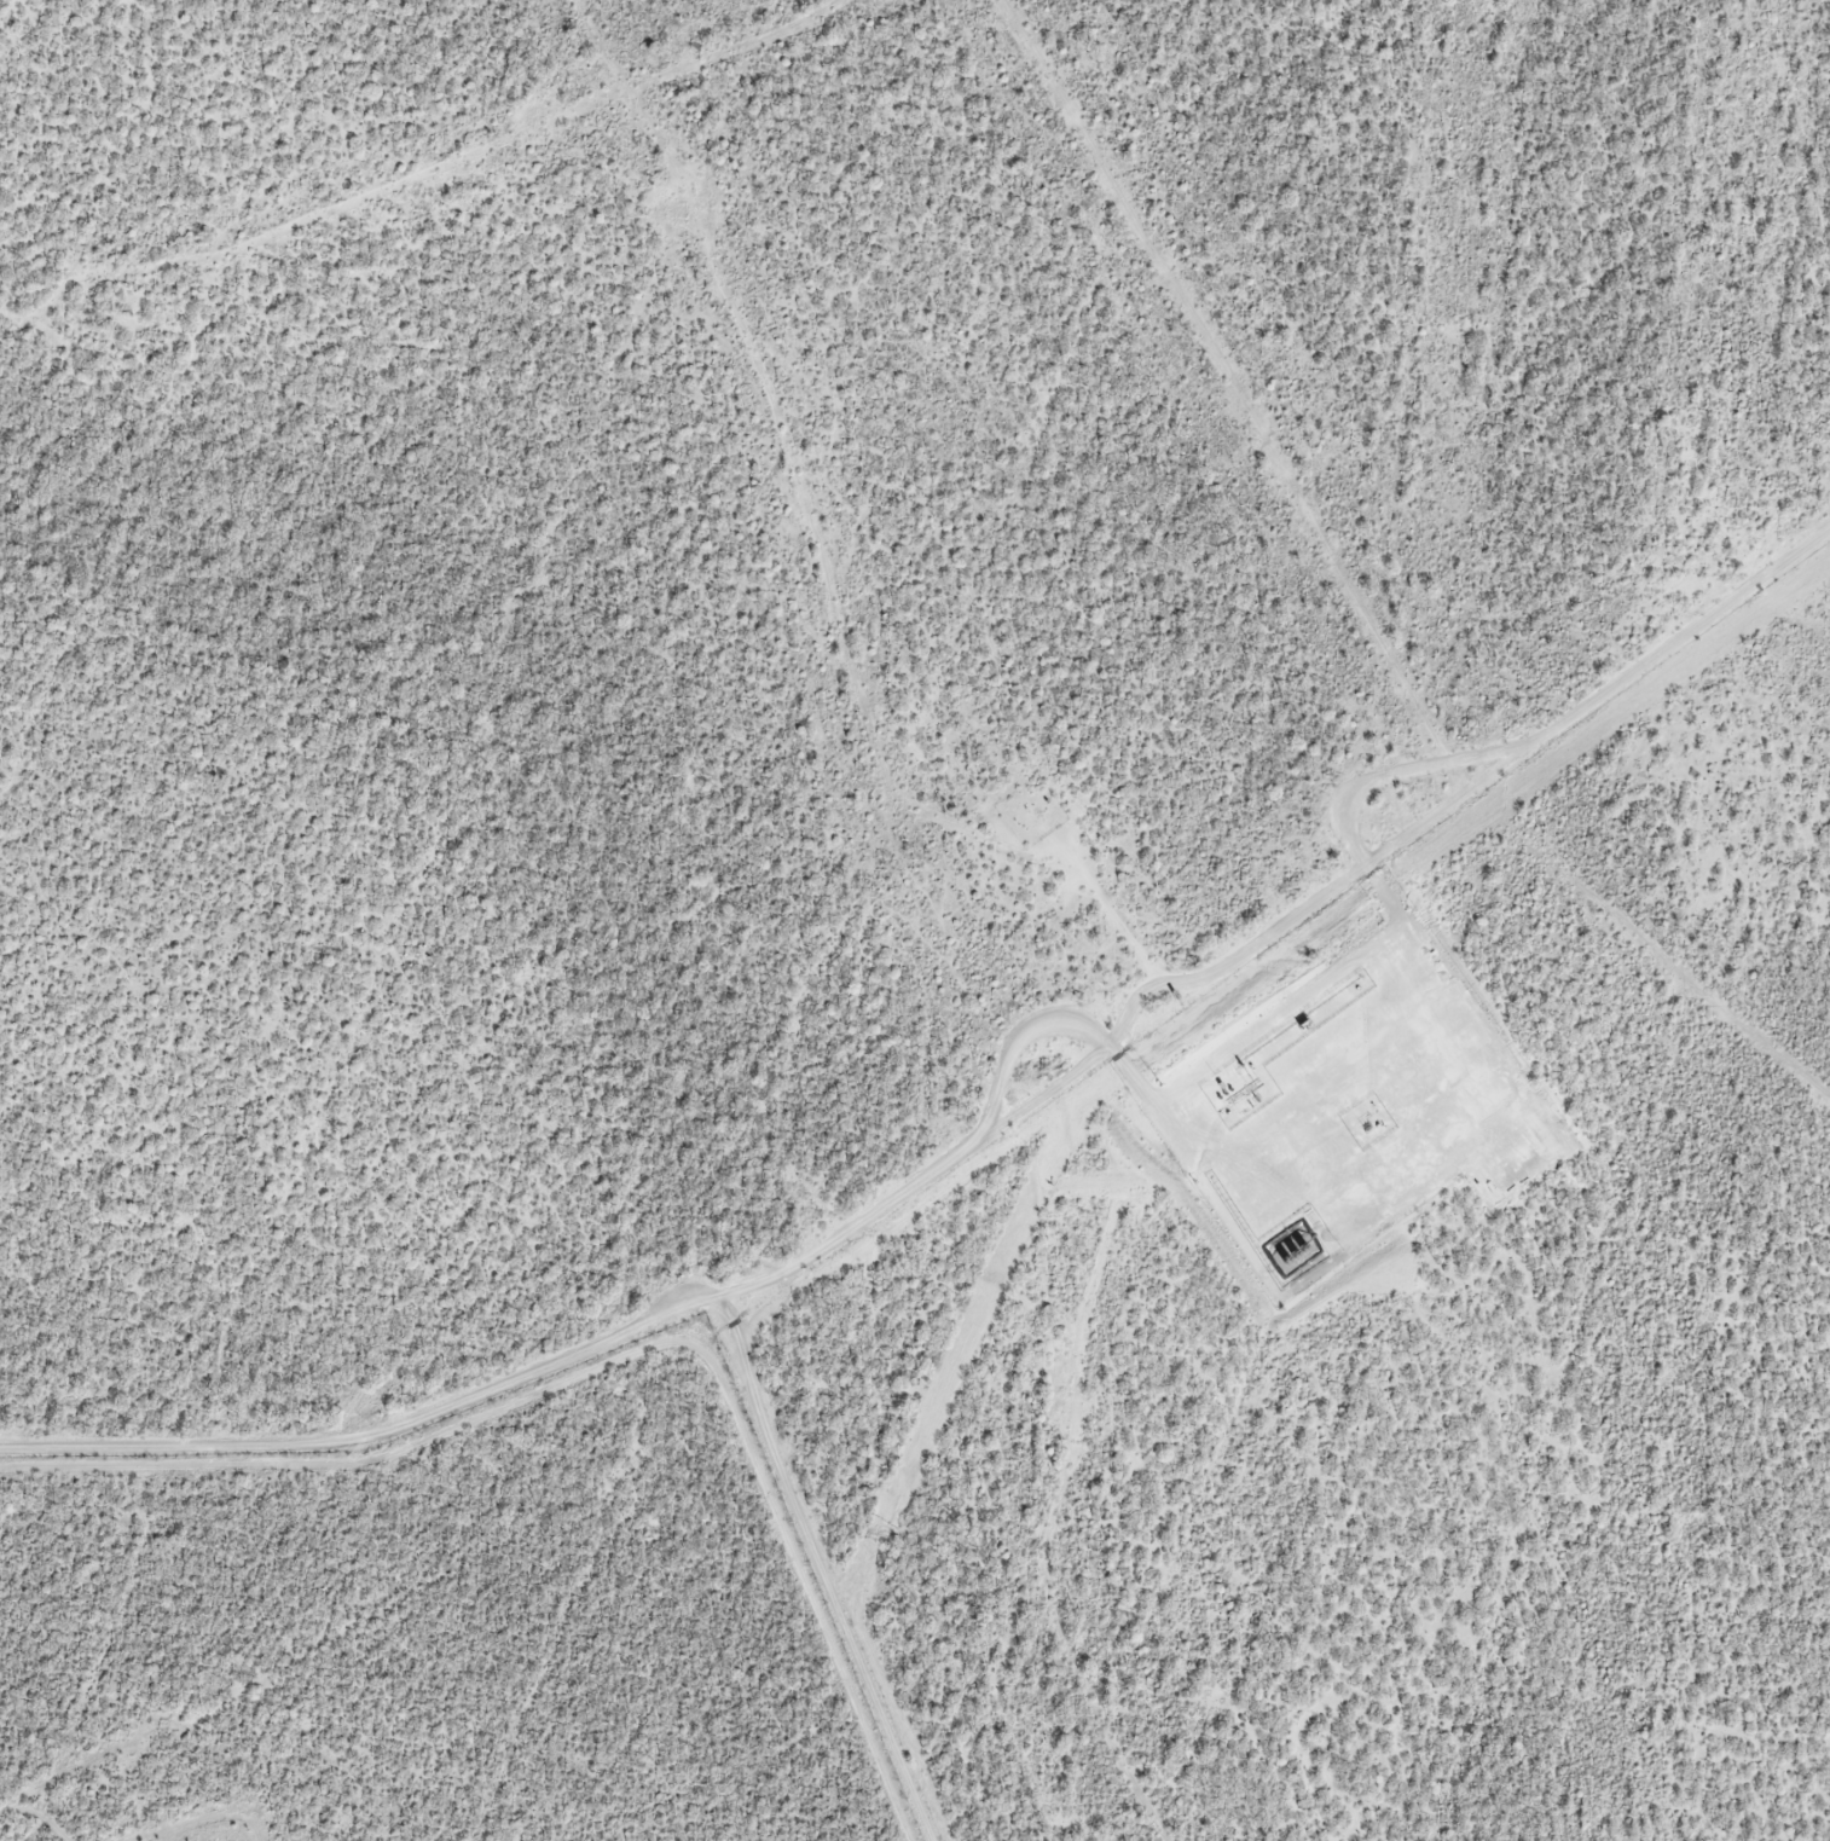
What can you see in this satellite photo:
road: (1347, 944)
road: (631, 1318)

